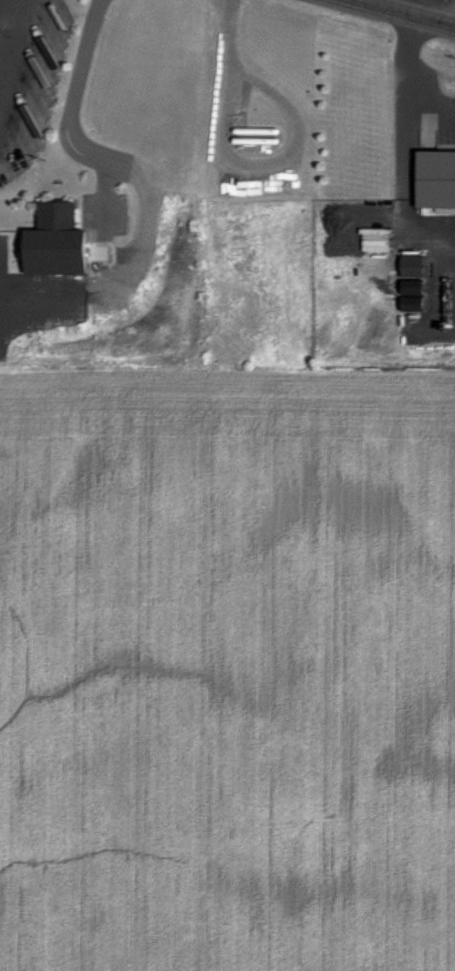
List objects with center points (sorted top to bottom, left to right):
road: (403, 13)
road: (226, 30)
road: (7, 32)
parking lot: (28, 79)
road: (403, 82)
road: (270, 162)
building: (434, 179)
road: (140, 184)
road: (104, 193)
parking lot: (104, 214)
building: (60, 244)
building: (412, 286)
building: (412, 304)
crop: (227, 668)

